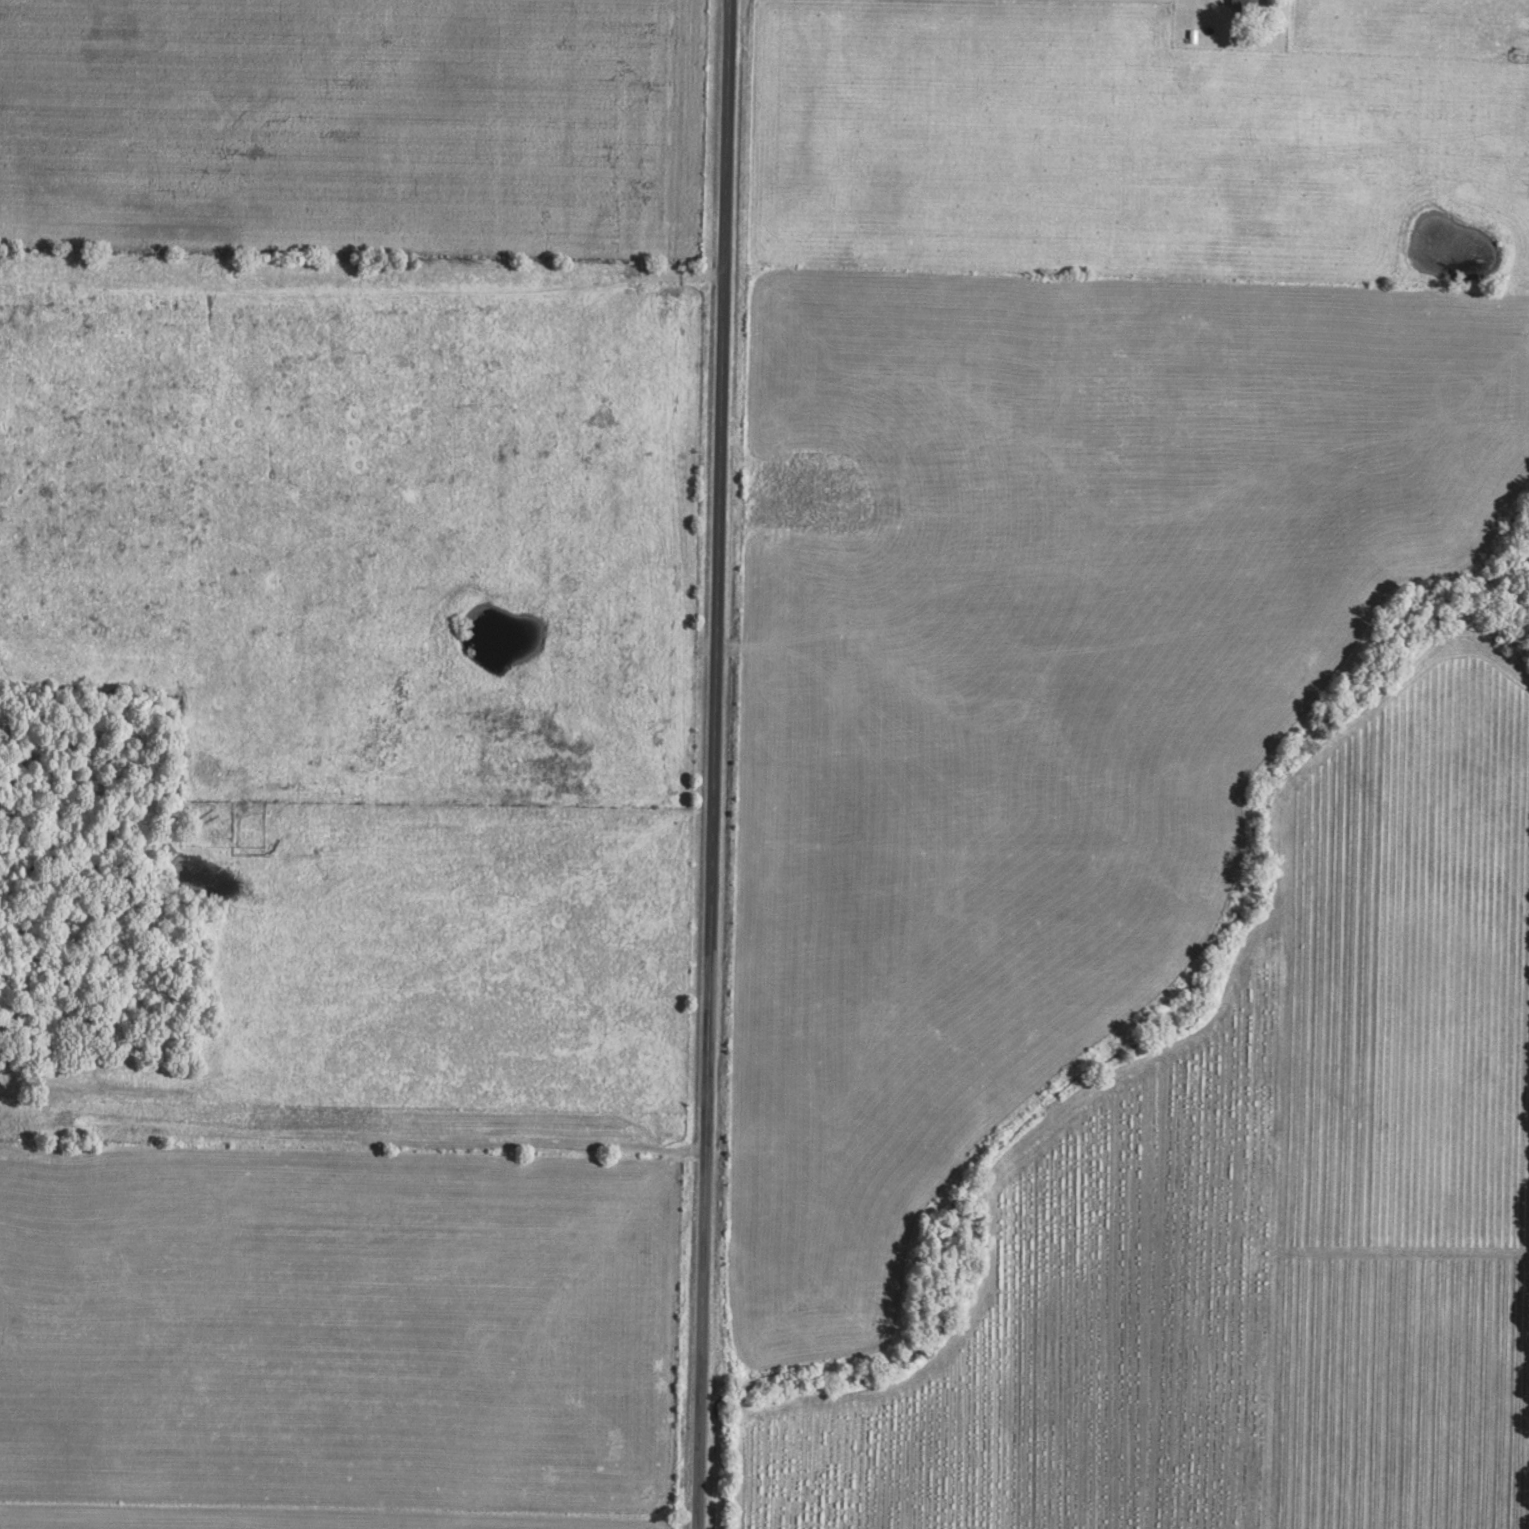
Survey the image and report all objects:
building: (1243, 4)
road: (848, 97)
road: (713, 764)

